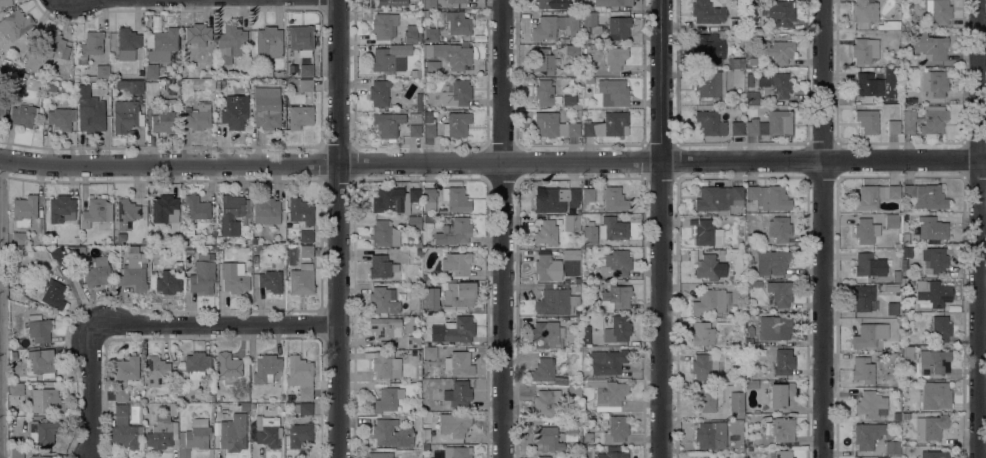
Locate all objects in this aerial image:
building: (456, 1)
building: (747, 1)
building: (612, 2)
building: (5, 3)
building: (385, 3)
building: (428, 4)
building: (552, 4)
building: (937, 11)
building: (706, 12)
building: (777, 13)
building: (863, 13)
building: (440, 15)
building: (156, 23)
building: (458, 23)
building: (590, 23)
building: (735, 24)
building: (14, 25)
building: (889, 25)
building: (384, 26)
building: (546, 27)
building: (572, 28)
building: (618, 28)
building: (197, 34)
building: (430, 34)
building: (411, 35)
building: (149, 40)
building: (300, 40)
building: (560, 41)
building: (269, 42)
building: (229, 43)
building: (127, 44)
building: (52, 45)
building: (163, 45)
building: (90, 46)
building: (935, 49)
building: (707, 50)
building: (778, 51)
building: (864, 51)
building: (452, 55)
building: (390, 58)
building: (614, 58)
building: (541, 60)
building: (752, 61)
building: (910, 62)
building: (5, 63)
building: (735, 63)
building: (432, 67)
building: (18, 68)
building: (305, 68)
building: (151, 70)
building: (102, 71)
building: (2, 72)
building: (588, 72)
building: (415, 73)
building: (182, 76)
building: (588, 80)
building: (749, 80)
building: (21, 81)
road: (660, 81)
building: (934, 83)
building: (708, 84)
building: (305, 85)
building: (868, 85)
building: (84, 86)
building: (130, 86)
building: (775, 86)
building: (50, 88)
building: (153, 88)
building: (64, 89)
building: (97, 92)
building: (613, 92)
building: (378, 93)
building: (455, 93)
building: (545, 94)
building: (202, 95)
building: (751, 98)
building: (910, 98)
building: (736, 101)
building: (418, 102)
building: (1, 107)
building: (266, 108)
building: (234, 112)
building: (23, 115)
building: (90, 115)
building: (198, 115)
building: (126, 116)
building: (299, 116)
building: (61, 118)
building: (164, 119)
building: (867, 120)
building: (933, 120)
building: (908, 122)
building: (710, 123)
building: (779, 123)
building: (414, 124)
building: (428, 124)
building: (456, 124)
building: (387, 125)
building: (553, 125)
building: (606, 125)
building: (751, 126)
building: (893, 127)
building: (736, 128)
road: (823, 162)
road: (329, 167)
building: (414, 195)
building: (588, 196)
building: (874, 196)
building: (924, 196)
building: (573, 197)
building: (768, 197)
building: (428, 199)
building: (455, 199)
building: (613, 199)
building: (718, 199)
building: (549, 200)
building: (389, 201)
building: (196, 208)
building: (61, 209)
building: (165, 209)
building: (24, 210)
building: (127, 210)
building: (266, 211)
building: (300, 211)
building: (442, 211)
building: (96, 212)
building: (233, 214)
building: (547, 215)
building: (428, 219)
building: (891, 221)
building: (413, 223)
building: (571, 223)
road: (505, 228)
building: (932, 228)
road: (982, 228)
road: (339, 229)
building: (612, 229)
building: (779, 229)
road: (824, 229)
building: (866, 230)
building: (453, 232)
building: (189, 233)
building: (546, 233)
building: (707, 233)
building: (385, 234)
building: (305, 236)
building: (575, 236)
building: (590, 236)
building: (905, 238)
building: (18, 239)
building: (51, 239)
building: (418, 244)
building: (897, 246)
building: (189, 249)
building: (72, 250)
building: (306, 251)
building: (906, 251)
building: (418, 252)
building: (57, 255)
building: (933, 260)
building: (771, 262)
building: (456, 263)
building: (616, 264)
building: (869, 265)
building: (381, 266)
building: (543, 267)
building: (708, 267)
building: (133, 271)
building: (99, 272)
building: (152, 273)
building: (202, 275)
building: (79, 277)
building: (895, 277)
building: (234, 278)
building: (168, 280)
building: (301, 280)
building: (270, 281)
building: (753, 283)
building: (890, 288)
building: (779, 293)
building: (53, 294)
building: (460, 294)
building: (931, 294)
building: (616, 295)
building: (862, 298)
building: (555, 299)
building: (383, 300)
building: (708, 301)
building: (431, 308)
road: (0, 309)
building: (892, 309)
building: (953, 309)
road: (660, 310)
building: (564, 318)
road: (216, 324)
building: (774, 327)
building: (38, 328)
building: (385, 328)
building: (458, 329)
building: (617, 329)
building: (940, 329)
building: (702, 334)
building: (425, 335)
building: (547, 335)
building: (586, 335)
building: (868, 336)
building: (413, 341)
building: (748, 342)
building: (429, 353)
building: (907, 353)
building: (607, 361)
building: (934, 361)
building: (783, 362)
building: (459, 363)
building: (41, 364)
building: (382, 364)
building: (228, 365)
building: (704, 367)
building: (126, 368)
building: (196, 368)
building: (299, 368)
building: (267, 370)
building: (862, 370)
building: (157, 372)
building: (545, 372)
building: (16, 389)
road: (93, 391)
building: (304, 391)
building: (575, 392)
building: (607, 393)
building: (458, 394)
building: (780, 394)
building: (121, 395)
building: (935, 396)
building: (386, 399)
building: (707, 399)
building: (46, 401)
building: (546, 402)
building: (871, 404)
building: (244, 406)
building: (251, 406)
building: (303, 408)
building: (173, 409)
building: (943, 412)
building: (904, 416)
building: (423, 420)
building: (416, 422)
building: (453, 424)
building: (931, 427)
building: (124, 428)
building: (616, 429)
building: (782, 430)
building: (267, 431)
building: (570, 431)
building: (42, 432)
building: (161, 432)
building: (232, 433)
building: (402, 433)
building: (197, 434)
building: (299, 434)
building: (426, 435)
building: (710, 435)
building: (867, 435)
building: (547, 438)
building: (587, 439)
building: (467, 441)
building: (892, 448)
building: (16, 451)
building: (456, 452)
building: (612, 453)
building: (779, 454)
building: (933, 454)
building: (380, 455)
building: (39, 456)
building: (543, 457)
building: (703, 457)
building: (866, 457)

